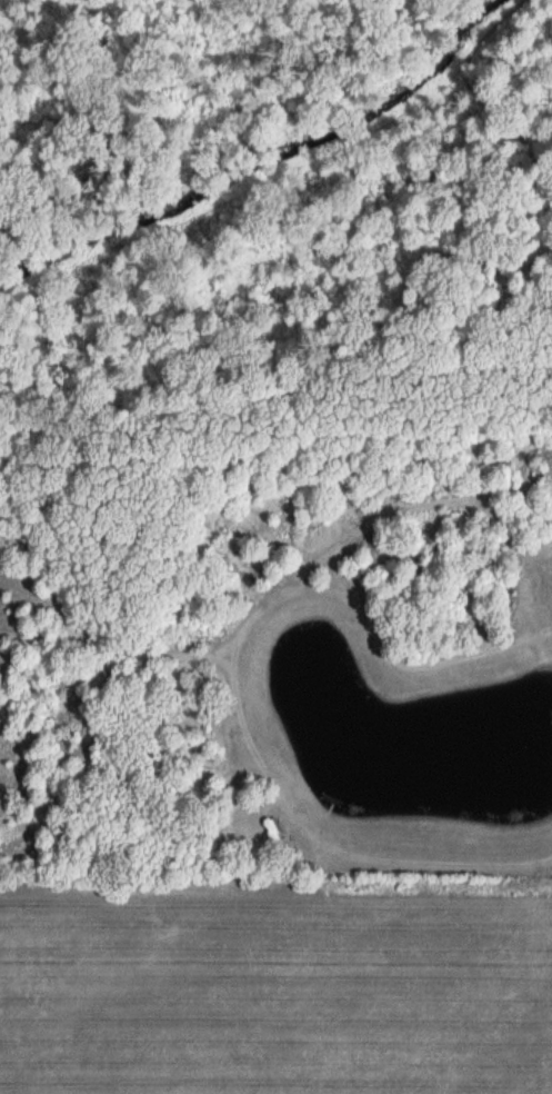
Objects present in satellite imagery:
road: (397, 507)
road: (285, 593)
road: (327, 841)

